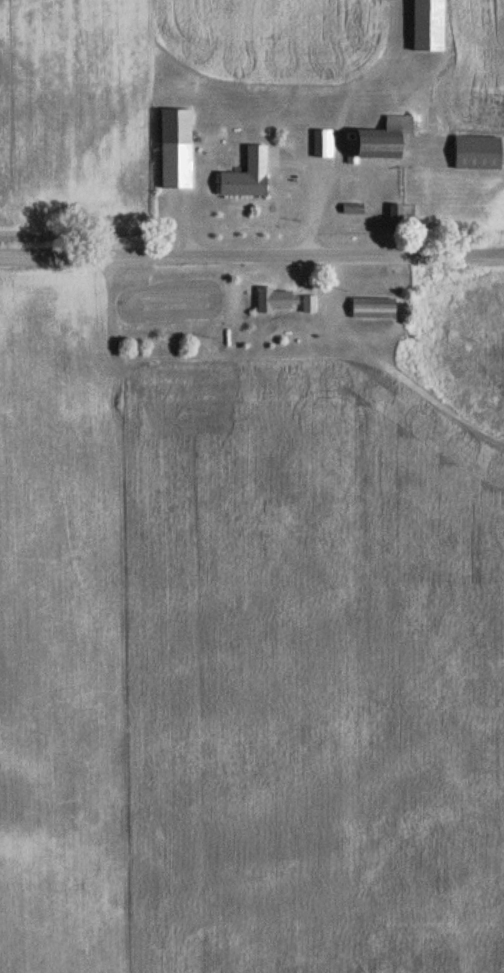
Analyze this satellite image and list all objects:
building: (427, 26)
building: (382, 139)
building: (315, 145)
building: (175, 149)
building: (476, 153)
building: (246, 176)
road: (323, 179)
road: (251, 255)
building: (275, 301)
building: (308, 305)
building: (372, 308)

